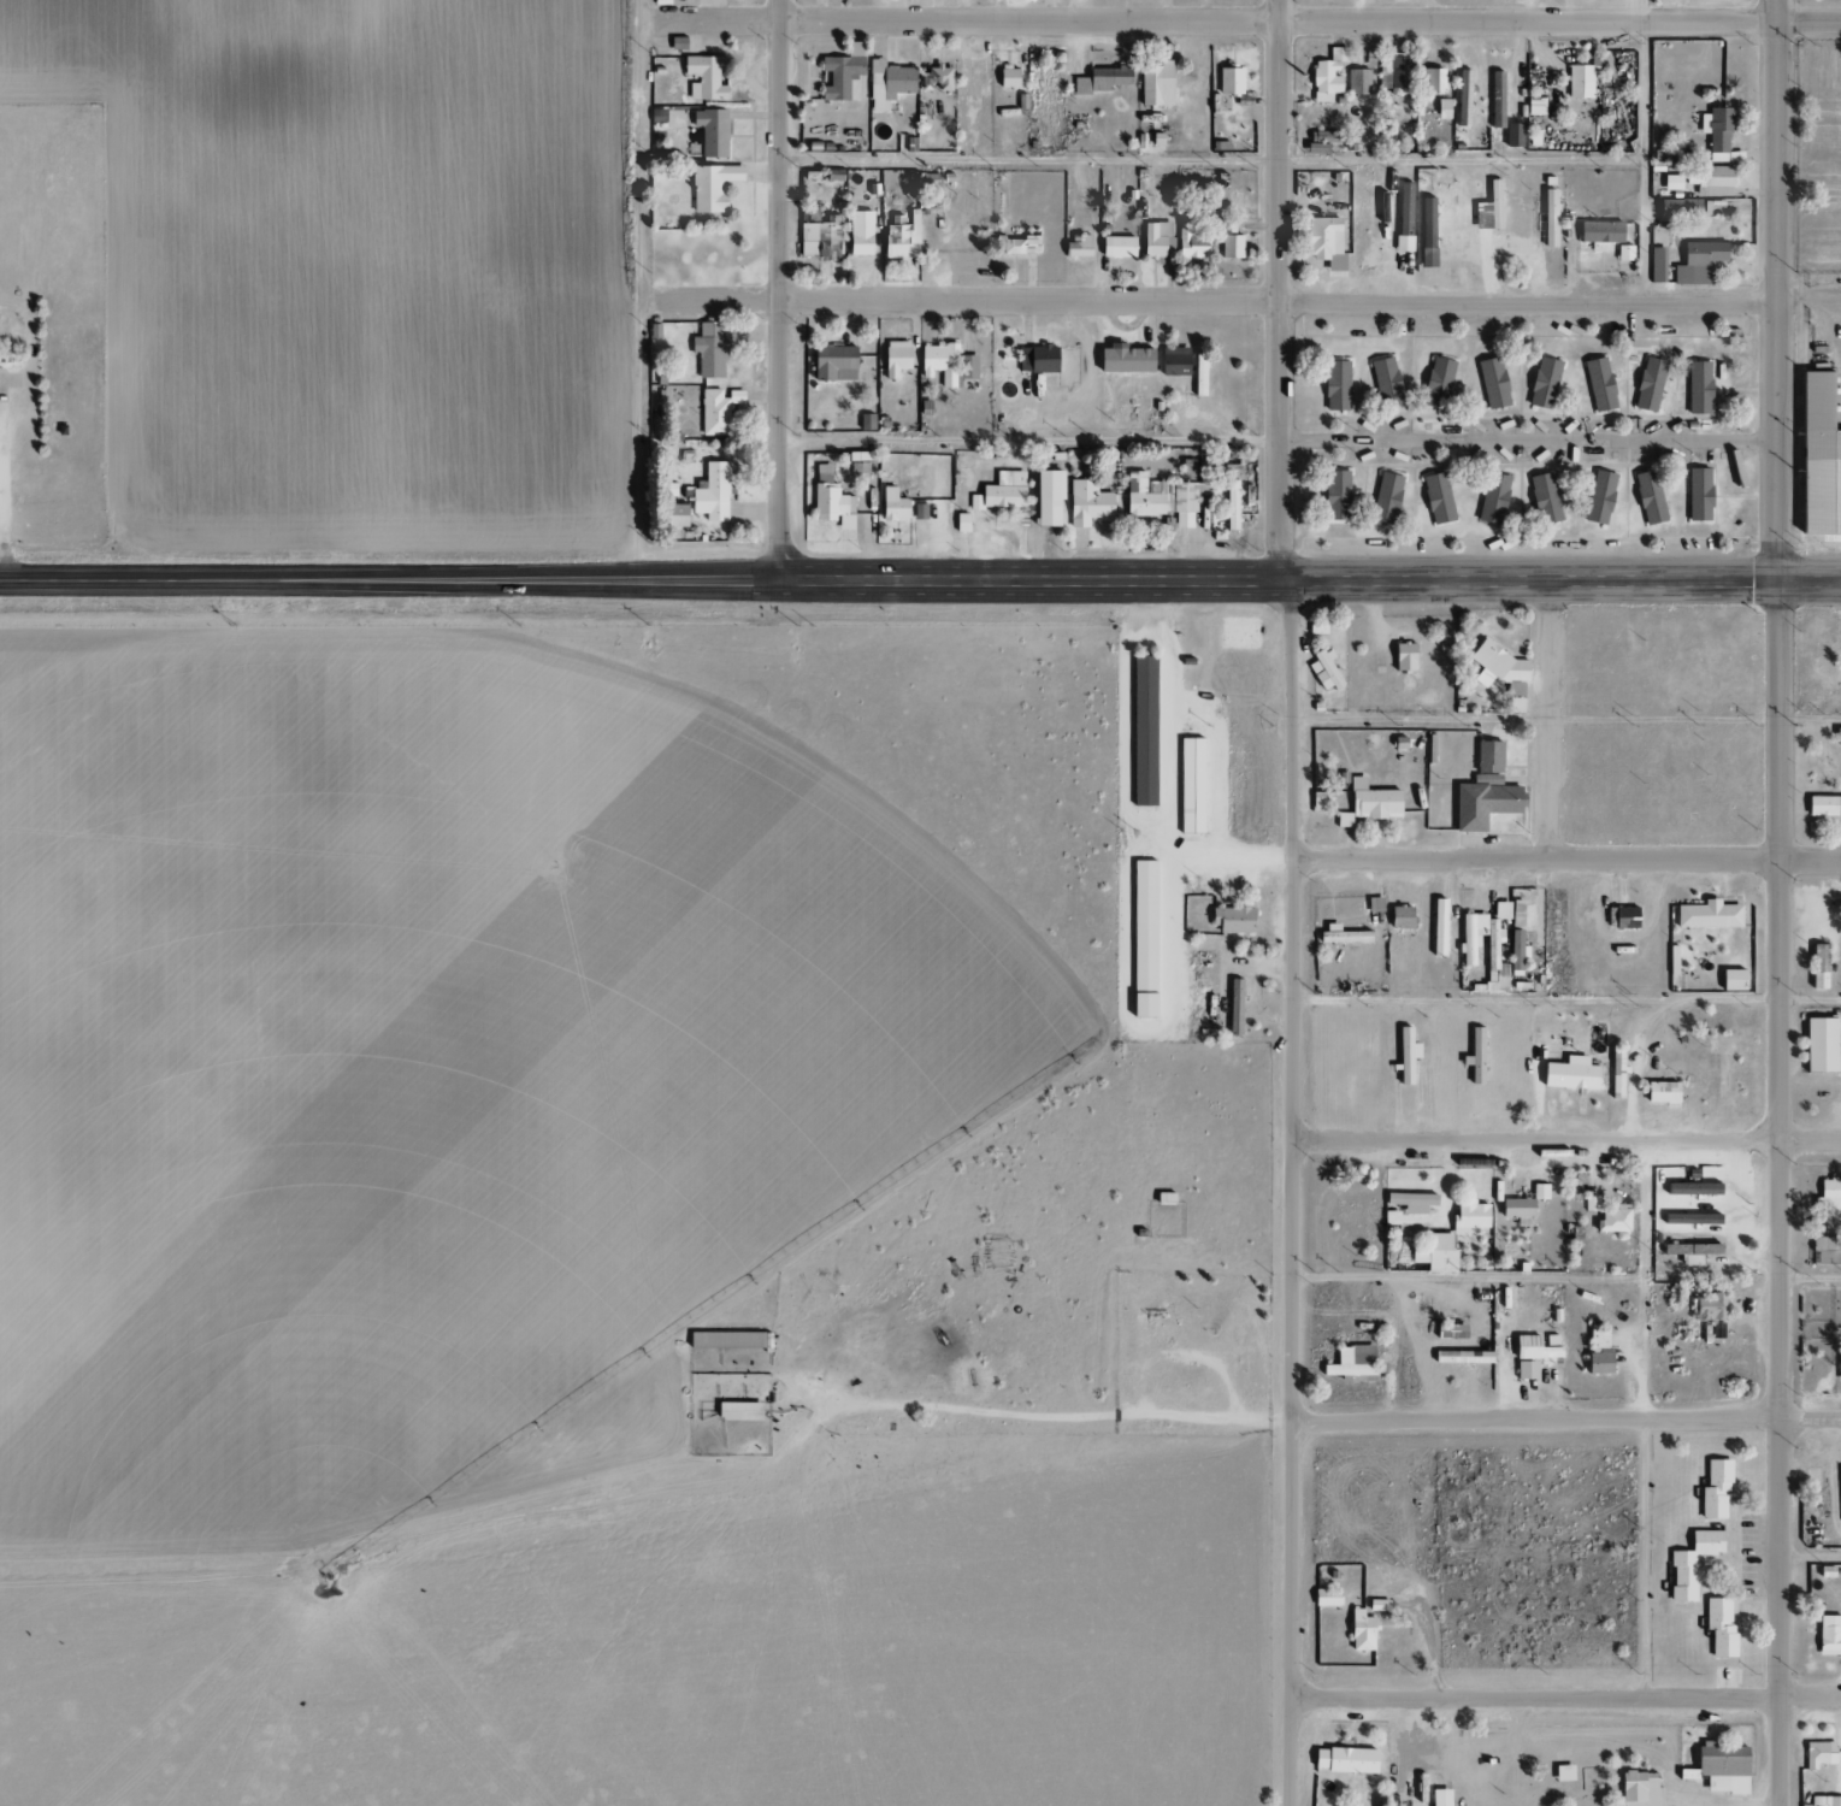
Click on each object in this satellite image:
road: (1239, 22)
building: (675, 43)
building: (1394, 73)
building: (840, 75)
building: (1326, 76)
building: (702, 77)
building: (1007, 77)
building: (886, 79)
building: (1433, 79)
building: (1099, 81)
building: (1228, 81)
building: (1580, 81)
building: (1357, 82)
building: (1153, 84)
building: (1462, 98)
building: (1495, 100)
building: (1534, 107)
building: (1441, 108)
building: (1716, 128)
building: (710, 132)
road: (1644, 150)
road: (1211, 160)
building: (1709, 181)
building: (928, 183)
building: (710, 188)
building: (1677, 208)
building: (1487, 209)
building: (1403, 217)
building: (1547, 218)
building: (1426, 232)
building: (858, 234)
building: (816, 235)
building: (1598, 235)
building: (1156, 241)
building: (1229, 241)
building: (1190, 242)
building: (1017, 246)
building: (1076, 246)
building: (1115, 247)
building: (1622, 253)
building: (1333, 261)
building: (1697, 261)
road: (1778, 288)
road: (641, 290)
road: (778, 290)
road: (1210, 300)
building: (708, 352)
building: (893, 359)
building: (1035, 359)
building: (1123, 361)
building: (1173, 361)
building: (832, 364)
building: (945, 365)
building: (1197, 374)
building: (1383, 383)
building: (1435, 383)
building: (1492, 383)
building: (1542, 383)
building: (1598, 384)
building: (1647, 384)
building: (1334, 386)
building: (1697, 388)
building: (716, 409)
building: (866, 423)
road: (1529, 438)
road: (1028, 439)
building: (1817, 460)
building: (1204, 477)
road: (0, 488)
building: (710, 494)
building: (999, 495)
building: (1697, 495)
building: (826, 496)
building: (1334, 496)
building: (1598, 497)
building: (1647, 497)
building: (1045, 498)
building: (1161, 498)
building: (1383, 498)
building: (1435, 498)
building: (1542, 498)
building: (1491, 500)
building: (1087, 503)
building: (1231, 504)
building: (891, 506)
building: (675, 517)
building: (960, 523)
road: (144, 580)
road: (1066, 580)
building: (1402, 656)
building: (1323, 672)
road: (1545, 716)
road: (1566, 718)
building: (1140, 728)
building: (1836, 734)
building: (1188, 785)
building: (1483, 790)
building: (1318, 801)
building: (1367, 803)
building: (1823, 805)
road: (1568, 856)
road: (1294, 902)
building: (1374, 904)
building: (1499, 910)
building: (1515, 914)
building: (1706, 915)
building: (1399, 916)
building: (1623, 917)
building: (1231, 920)
building: (1141, 925)
building: (1436, 927)
building: (1339, 936)
building: (1465, 955)
building: (1671, 960)
building: (1816, 967)
building: (1730, 980)
road: (1568, 1002)
building: (1139, 1005)
building: (1233, 1008)
building: (1818, 1045)
building: (1404, 1055)
building: (1566, 1074)
building: (1615, 1074)
building: (1659, 1092)
road: (1568, 1135)
road: (1777, 1191)
building: (1538, 1192)
building: (1828, 1194)
building: (1162, 1199)
building: (1409, 1199)
building: (1589, 1203)
building: (1515, 1211)
building: (1467, 1216)
building: (1612, 1218)
building: (1827, 1250)
building: (1439, 1252)
building: (1689, 1252)
road: (1808, 1279)
building: (1709, 1308)
building: (1713, 1328)
building: (1597, 1338)
building: (726, 1340)
building: (1534, 1347)
building: (1441, 1357)
building: (1595, 1363)
building: (1350, 1364)
building: (1837, 1365)
building: (1524, 1370)
building: (736, 1411)
road: (1322, 1421)
building: (1840, 1481)
building: (1713, 1488)
road: (1808, 1557)
building: (1689, 1563)
building: (1824, 1571)
building: (1324, 1597)
building: (1718, 1627)
building: (1358, 1630)
building: (1828, 1635)
road: (1565, 1698)
building: (1817, 1754)
building: (1341, 1760)
building: (1719, 1766)
building: (1562, 1772)
building: (1639, 1789)
building: (1438, 1798)

